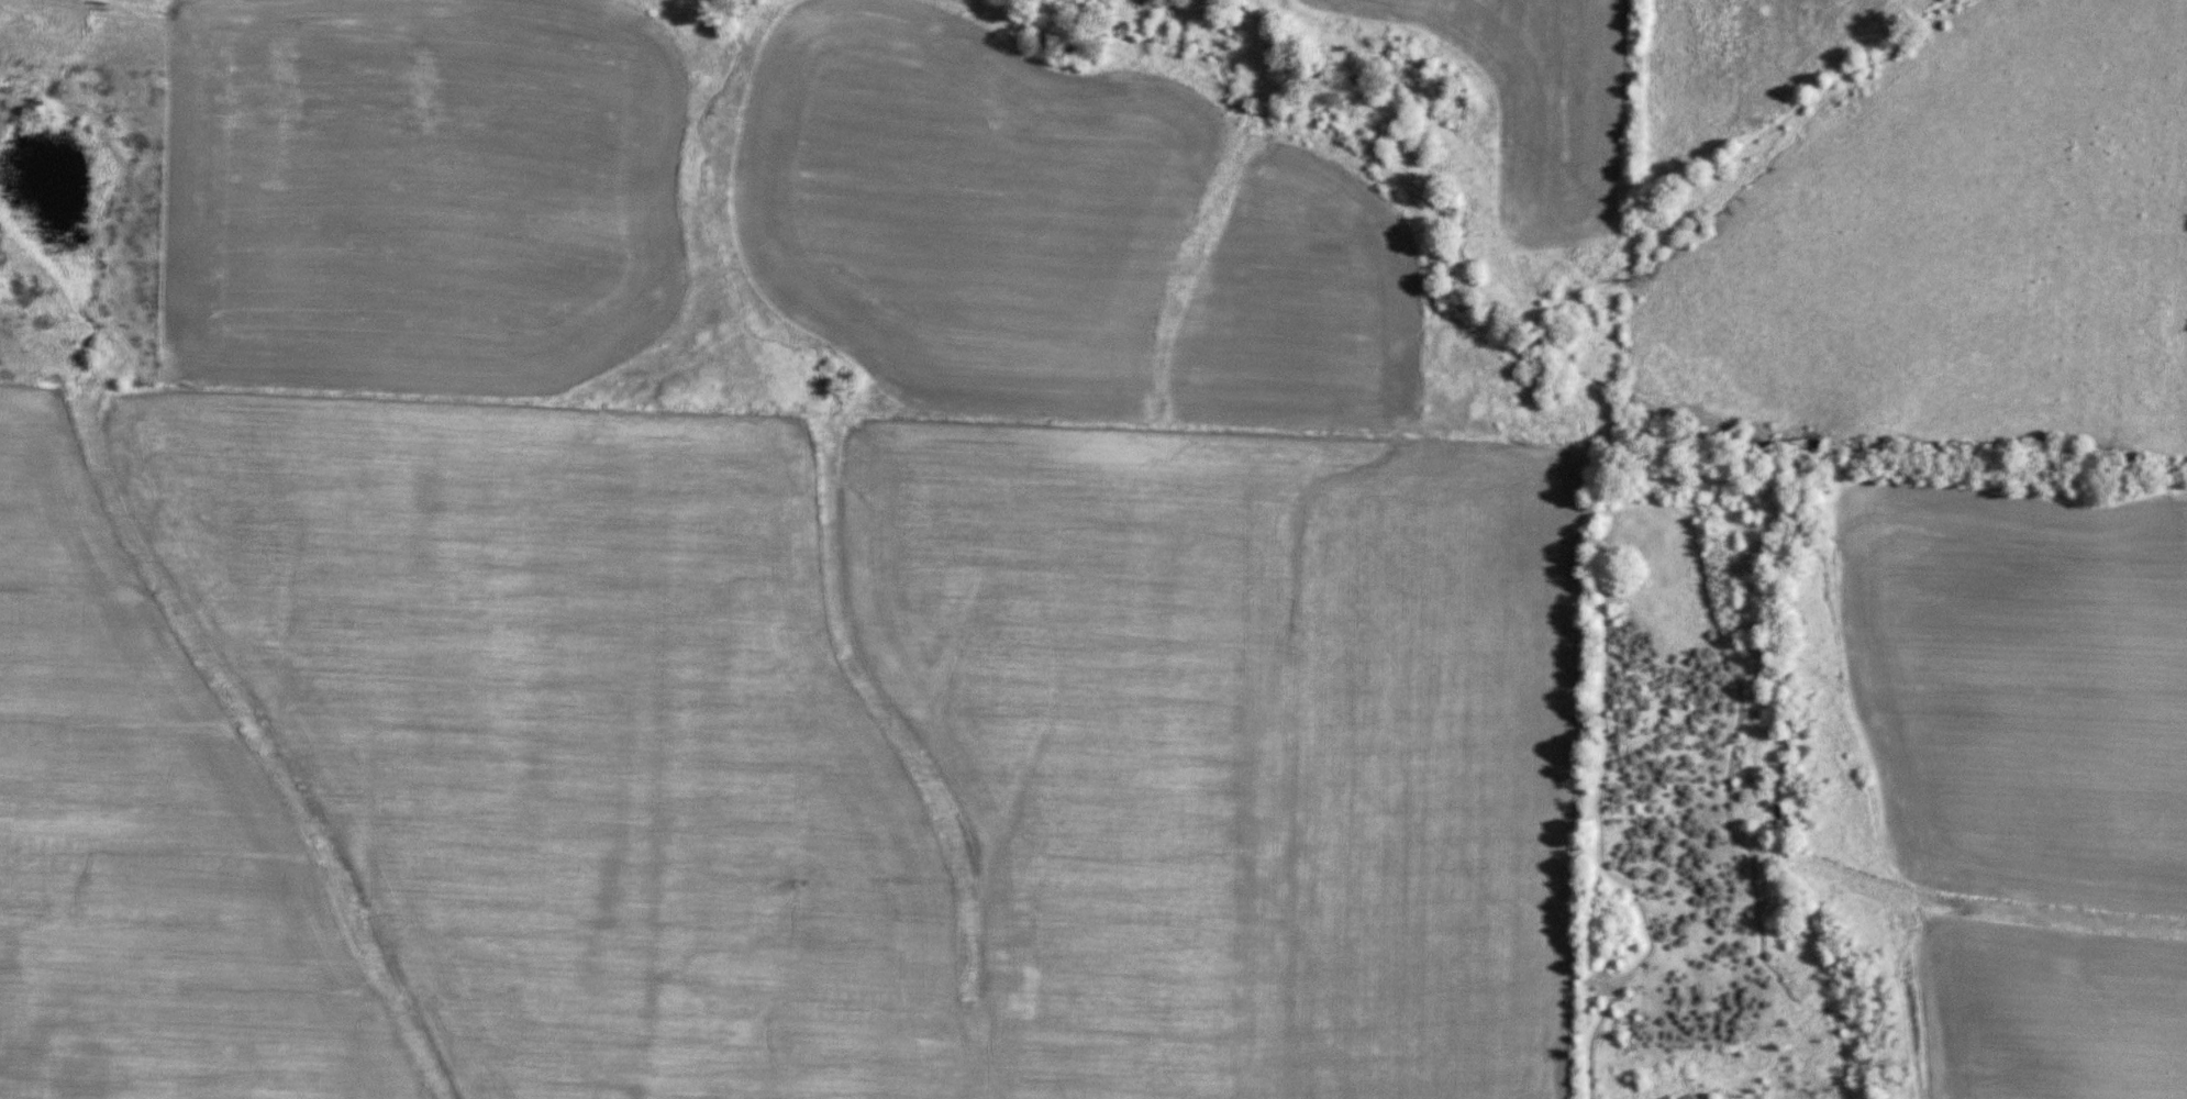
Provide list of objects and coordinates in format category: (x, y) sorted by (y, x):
road: (640, 765)

